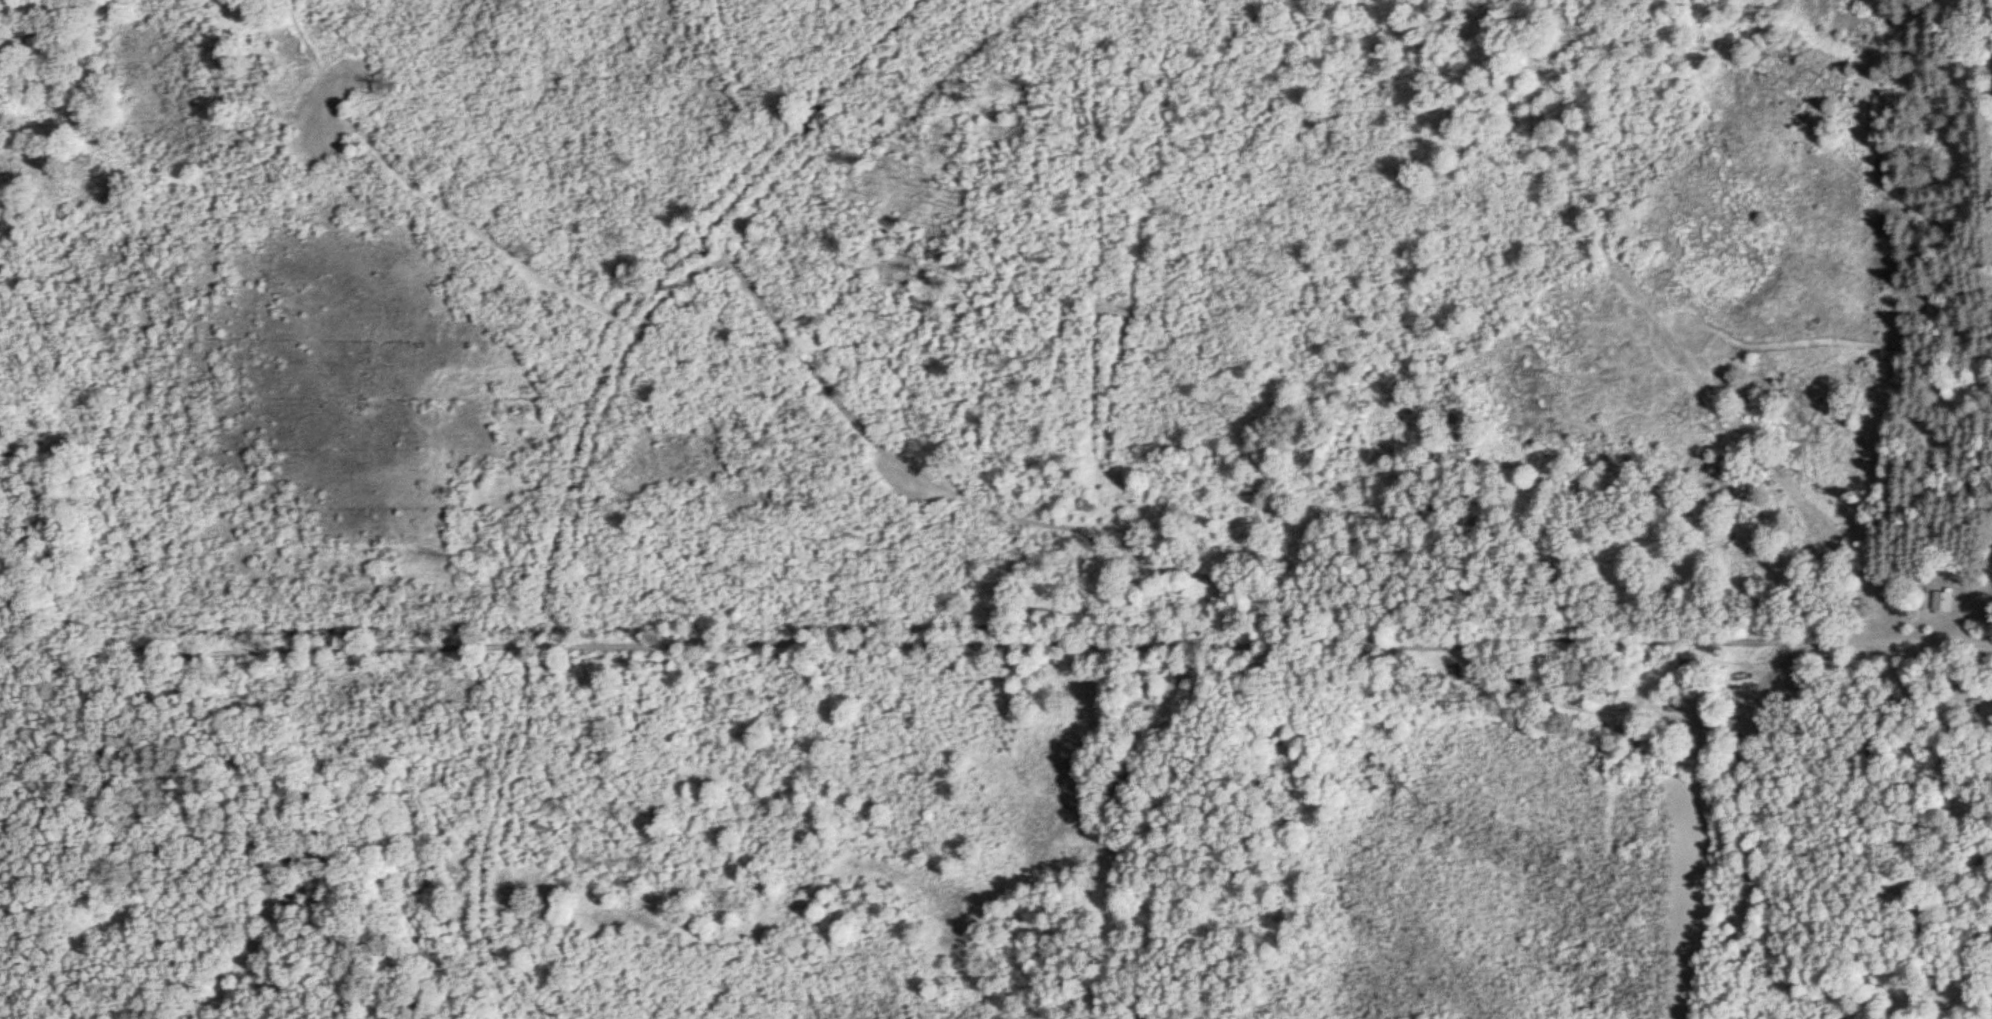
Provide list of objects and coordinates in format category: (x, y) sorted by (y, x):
road: (1990, 14)
road: (792, 343)
road: (1988, 578)
building: (1942, 599)
road: (1026, 642)
road: (31, 658)
building: (1454, 670)
road: (251, 792)

